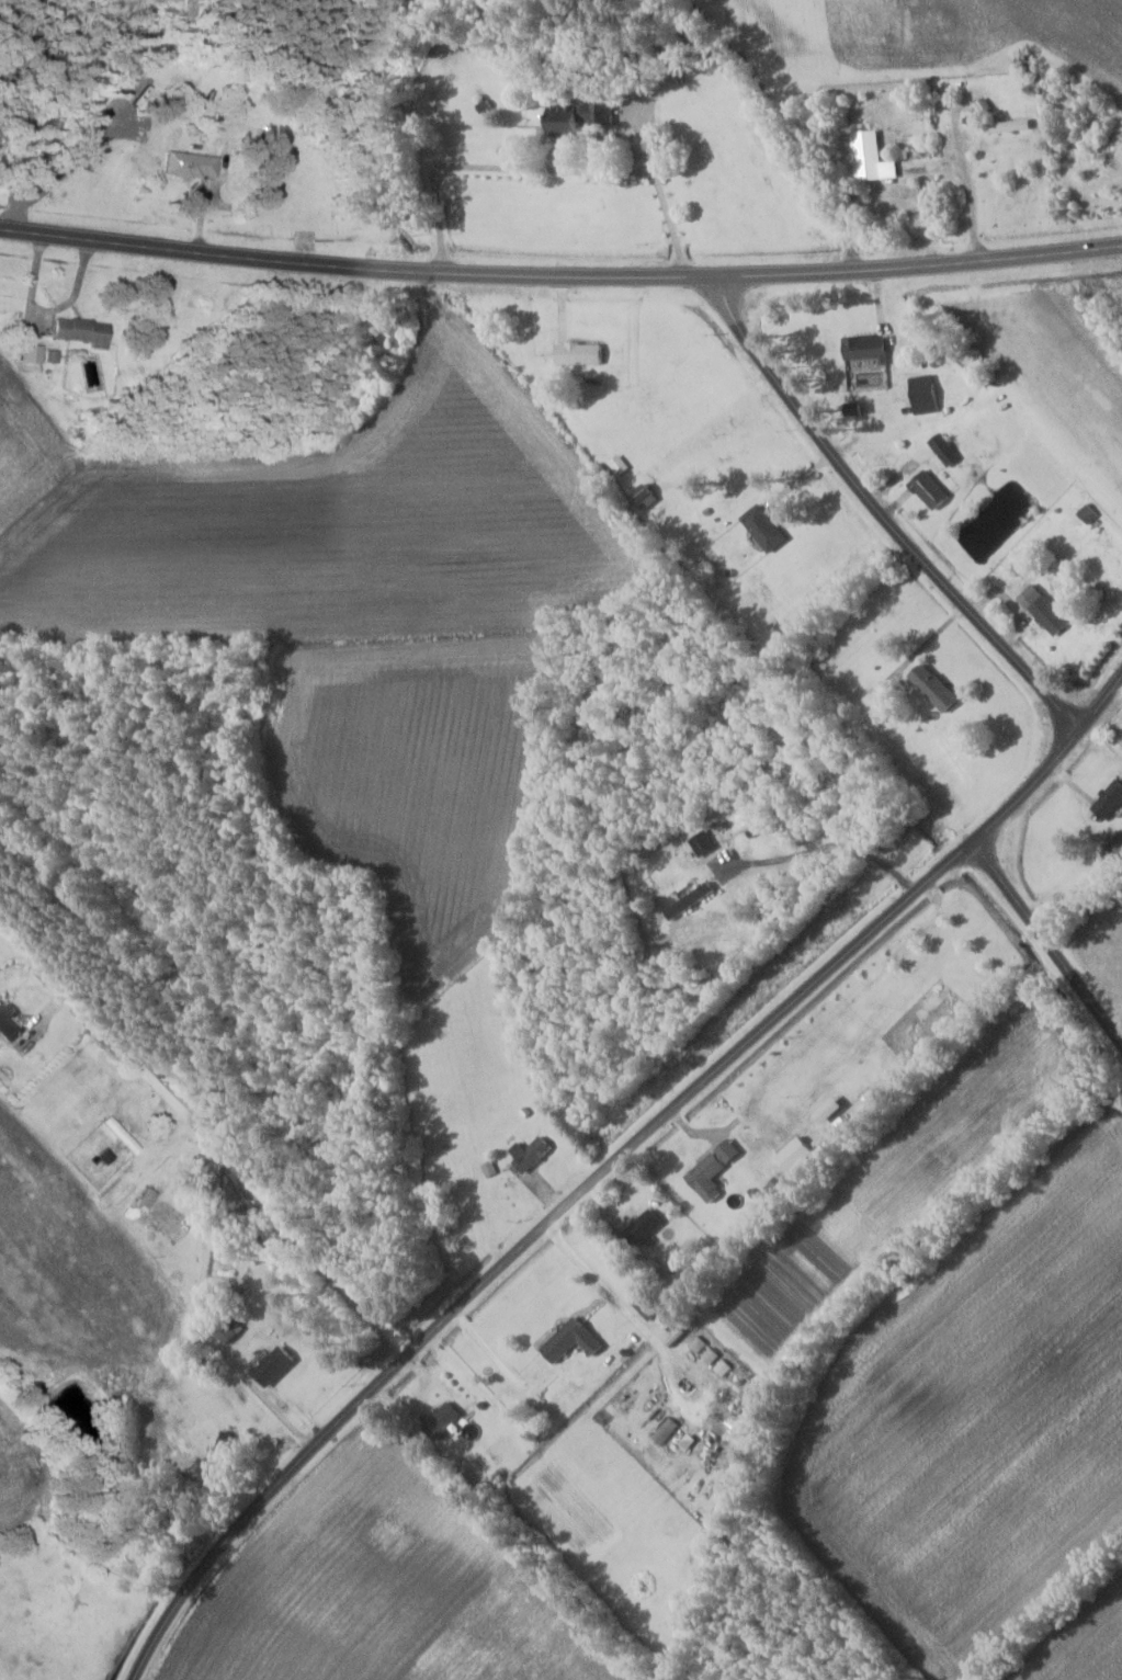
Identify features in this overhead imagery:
building: (581, 116)
building: (1009, 126)
building: (874, 158)
building: (194, 164)
road: (560, 270)
building: (82, 331)
building: (869, 347)
building: (583, 353)
building: (927, 389)
building: (947, 450)
building: (932, 489)
building: (649, 495)
building: (1089, 512)
road: (882, 514)
building: (768, 526)
building: (1053, 614)
building: (940, 685)
road: (1052, 761)
building: (1112, 799)
building: (1118, 847)
road: (1047, 940)
building: (10, 1021)
building: (122, 1135)
building: (533, 1151)
building: (711, 1176)
road: (275, 1183)
building: (784, 1185)
building: (166, 1217)
building: (647, 1226)
road: (529, 1238)
building: (649, 1307)
building: (227, 1325)
building: (576, 1340)
building: (277, 1365)
building: (444, 1417)
building: (225, 1451)

